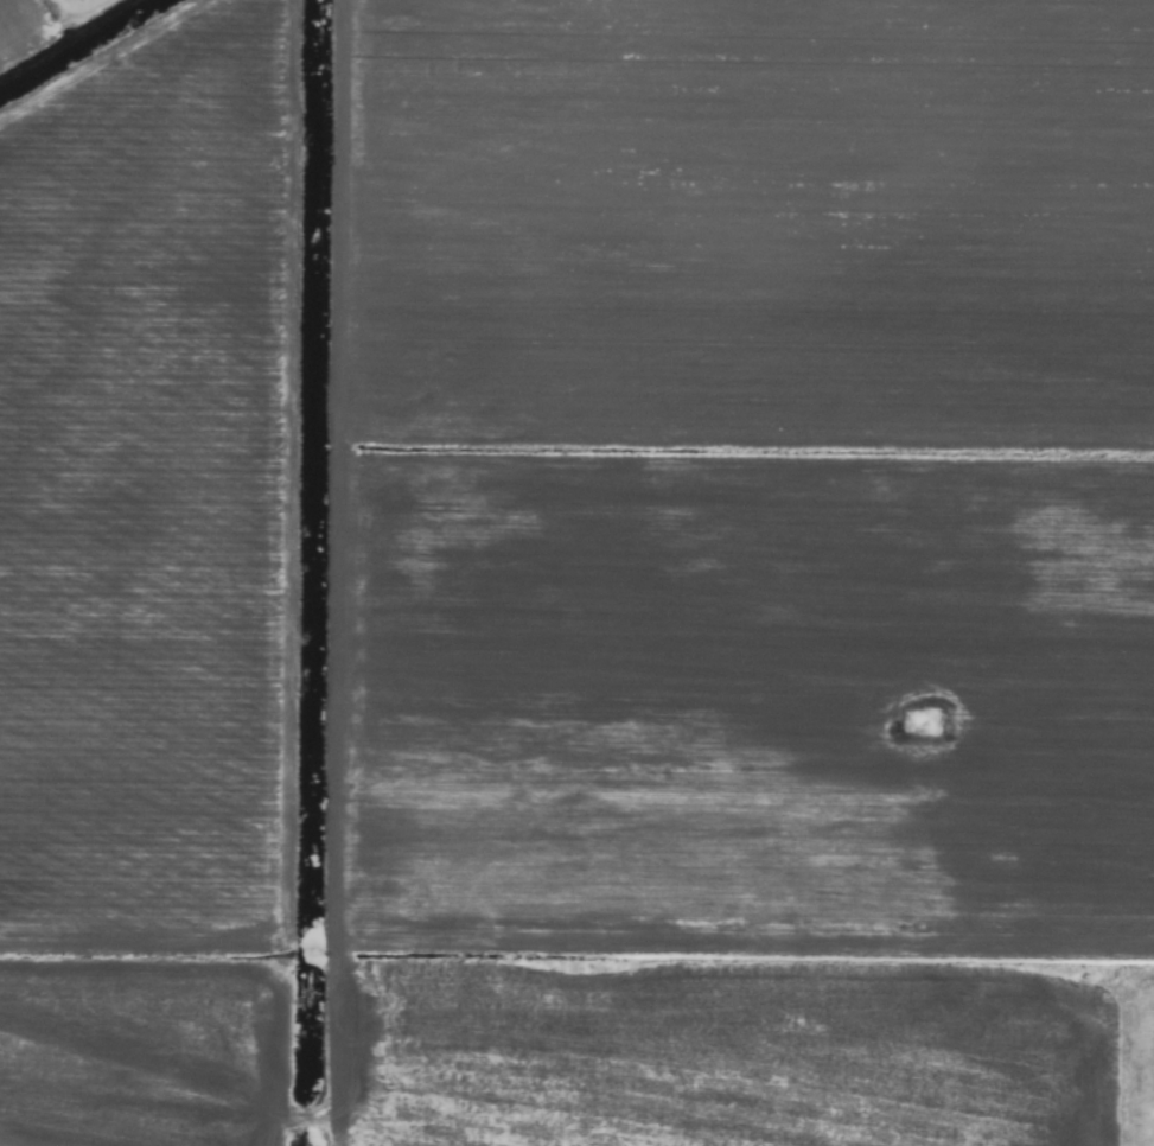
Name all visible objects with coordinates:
crop: (576, 573)

